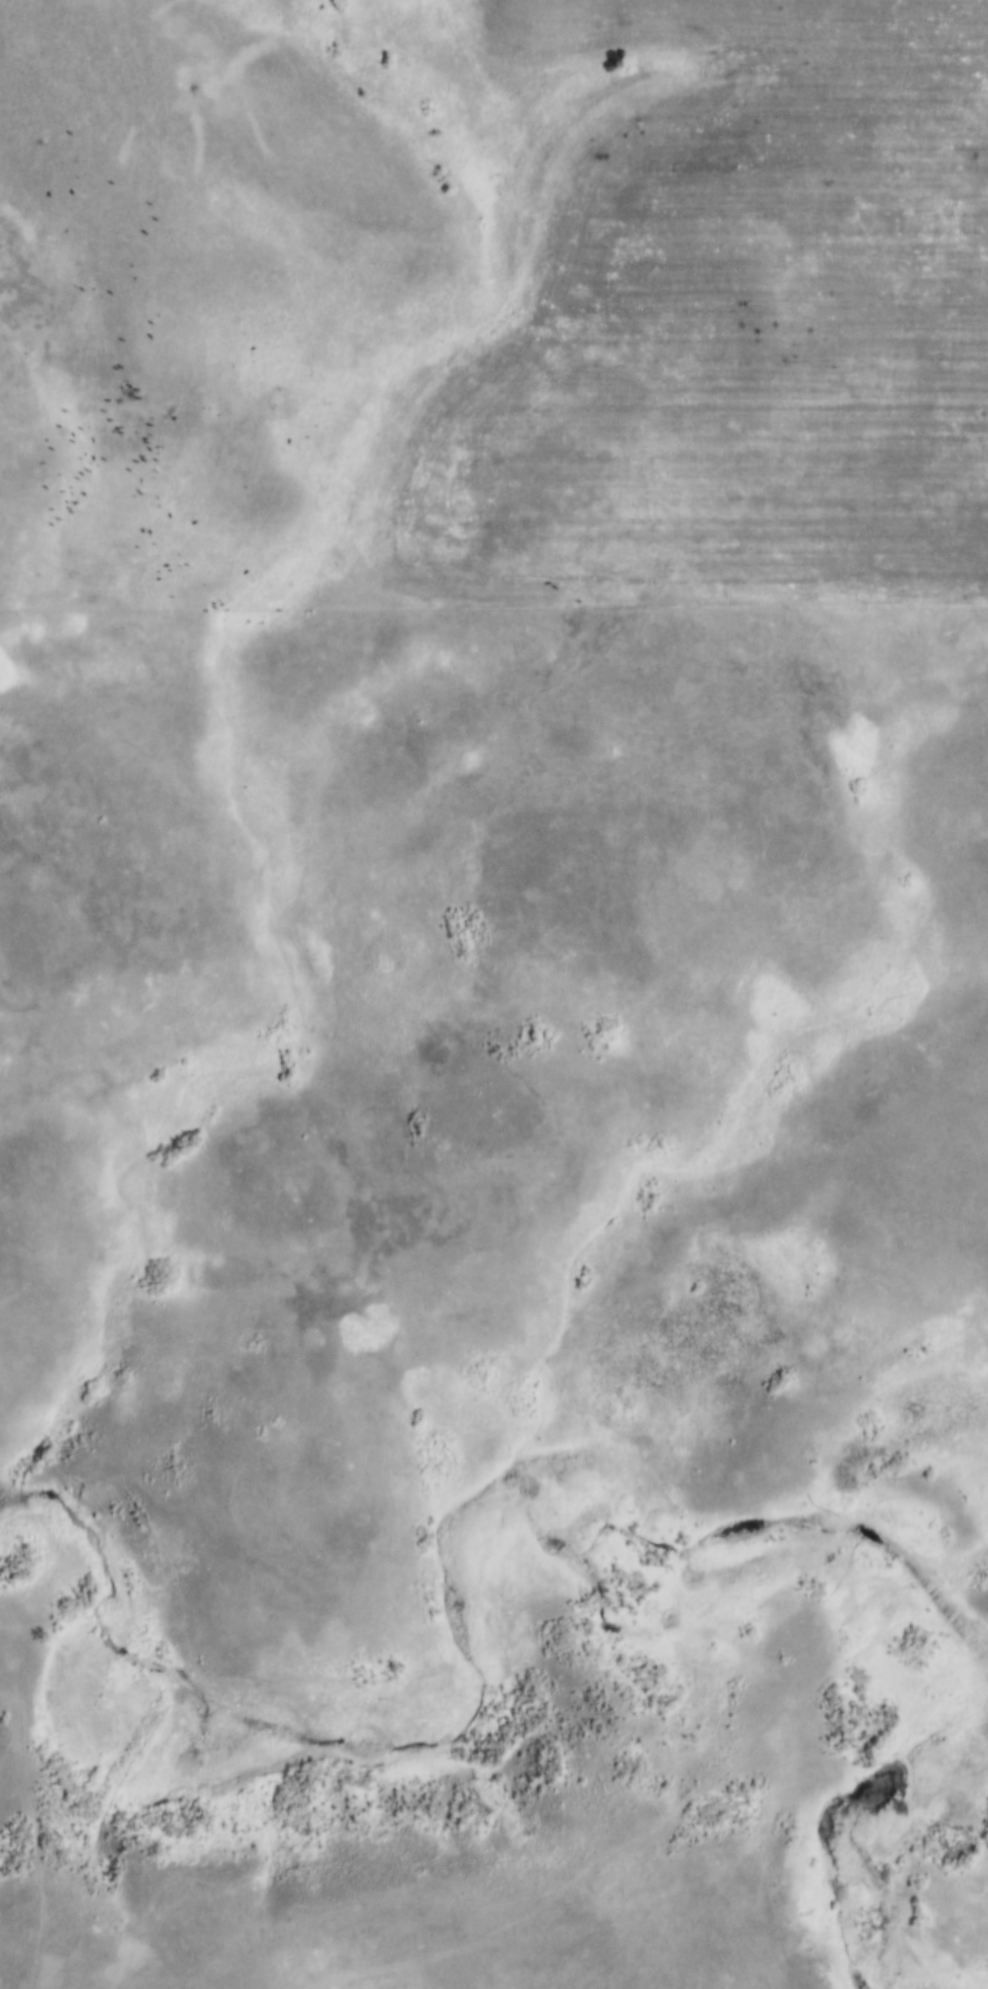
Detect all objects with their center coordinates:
road: (501, 618)
road: (35, 1850)

